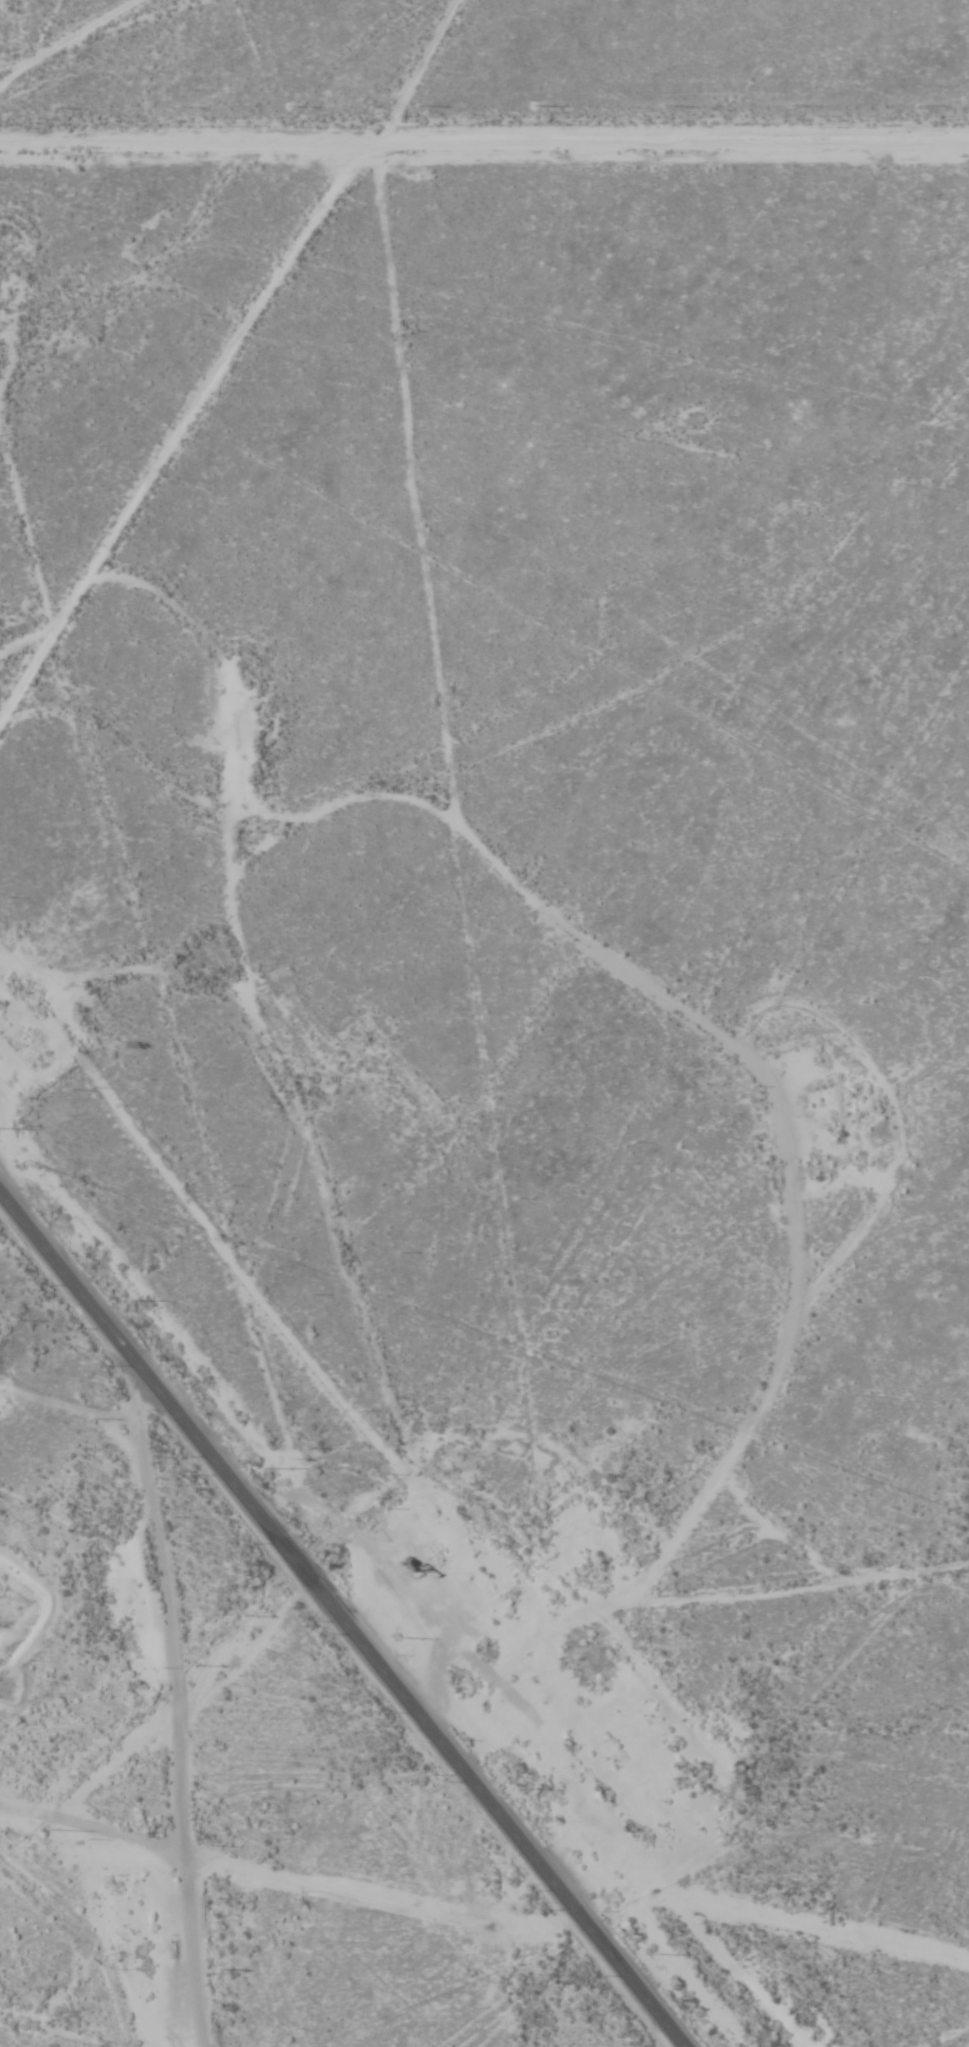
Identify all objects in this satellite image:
road: (245, 380)
road: (341, 1622)
road: (181, 1712)
road: (60, 2030)

